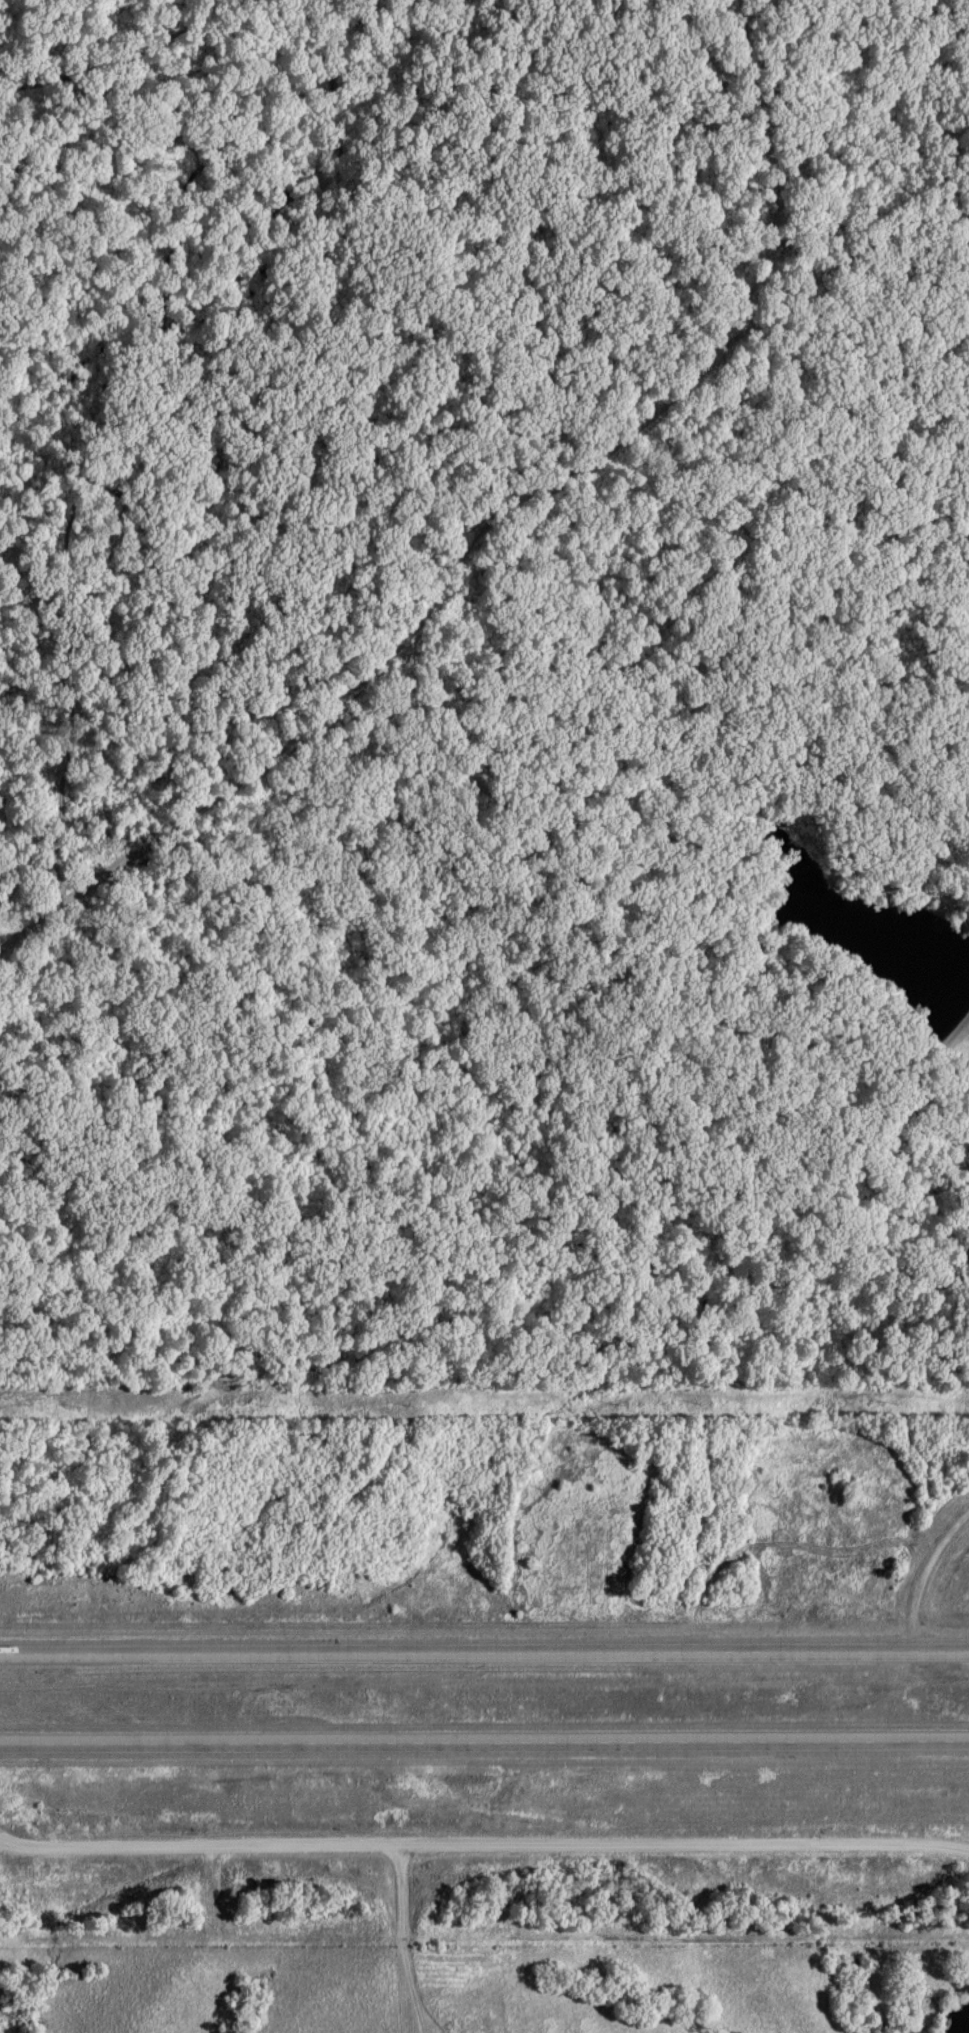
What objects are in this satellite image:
road: (927, 1579)
road: (484, 1649)
road: (484, 1738)
road: (484, 1842)

